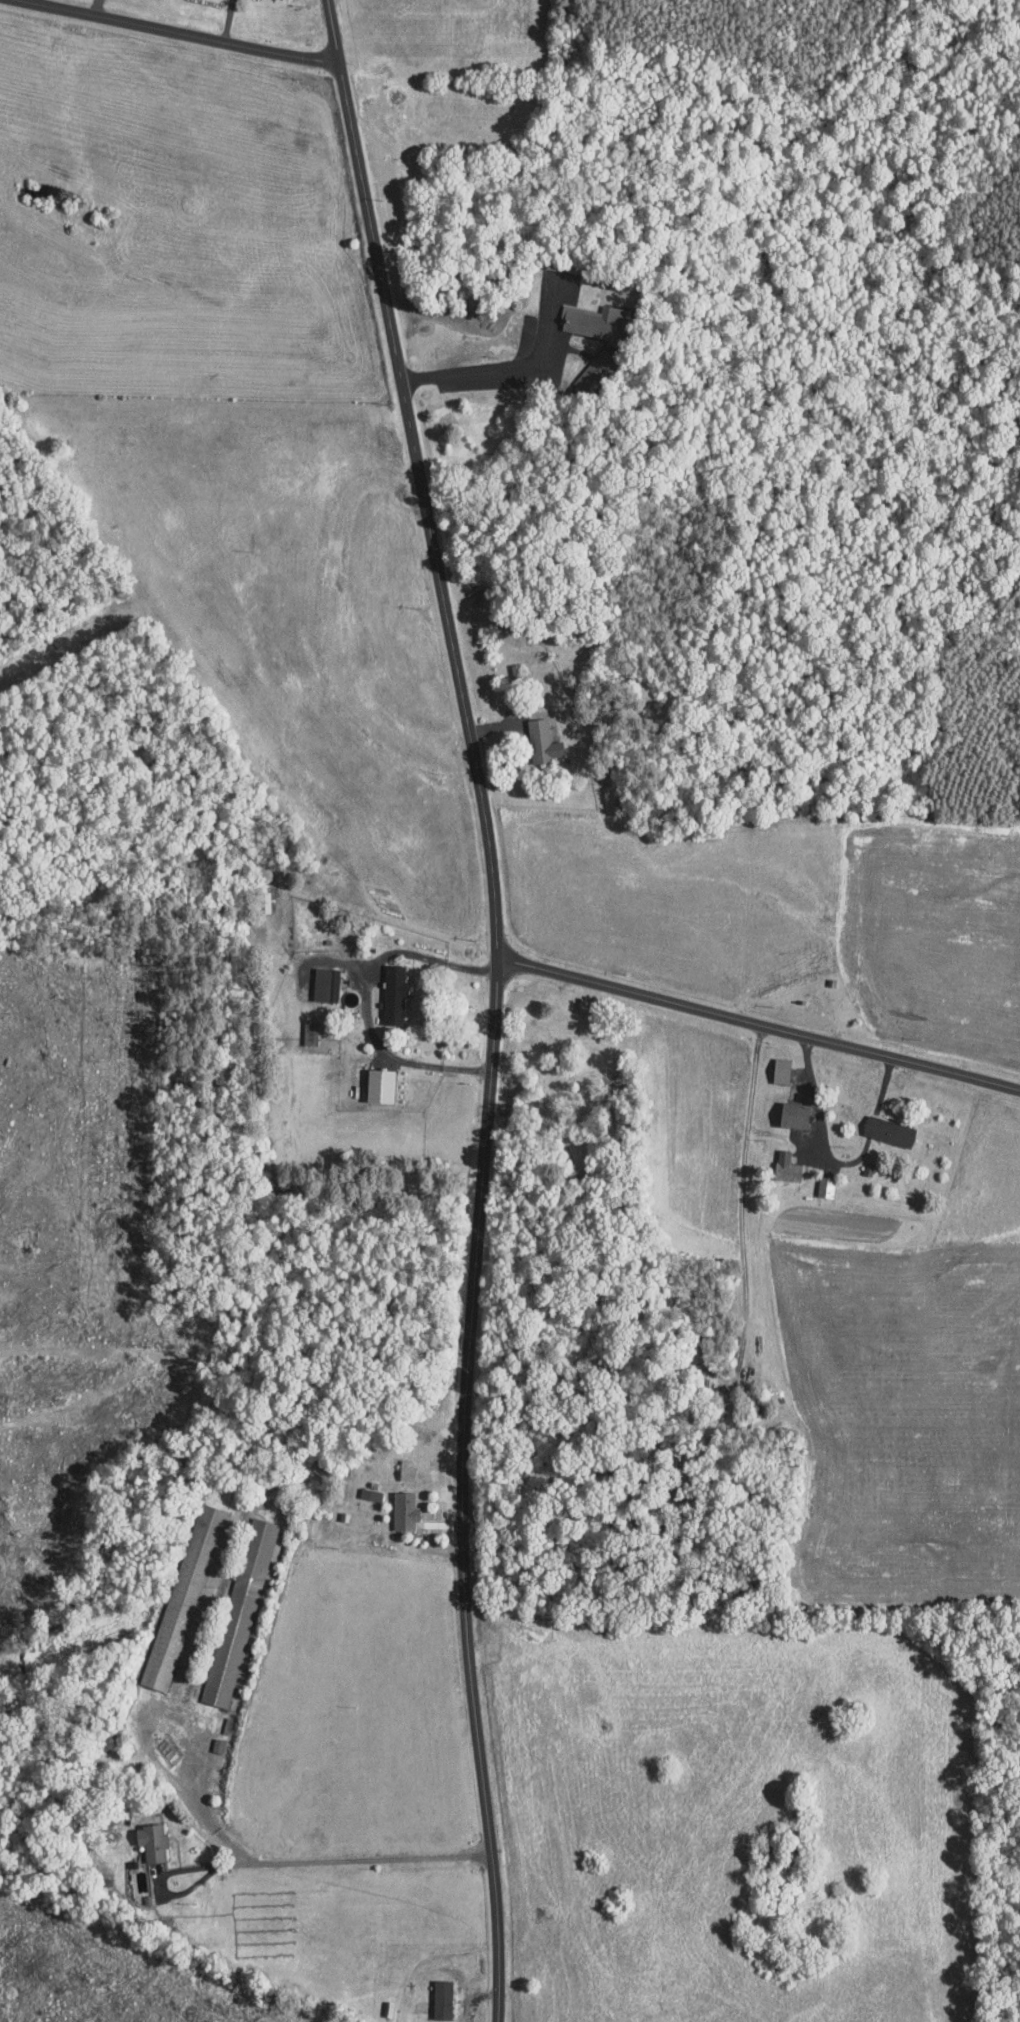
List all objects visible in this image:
road: (174, 32)
building: (594, 321)
road: (507, 368)
building: (593, 373)
building: (542, 742)
road: (350, 961)
building: (325, 983)
building: (393, 993)
road: (366, 998)
road: (493, 1004)
road: (758, 1028)
building: (309, 1036)
building: (780, 1069)
building: (378, 1084)
building: (793, 1114)
building: (887, 1130)
road: (814, 1139)
road: (835, 1161)
building: (785, 1166)
building: (825, 1186)
building: (405, 1469)
building: (369, 1494)
building: (404, 1510)
building: (183, 1597)
building: (239, 1612)
building: (217, 1745)
building: (151, 1842)
road: (285, 1861)
building: (441, 1999)

